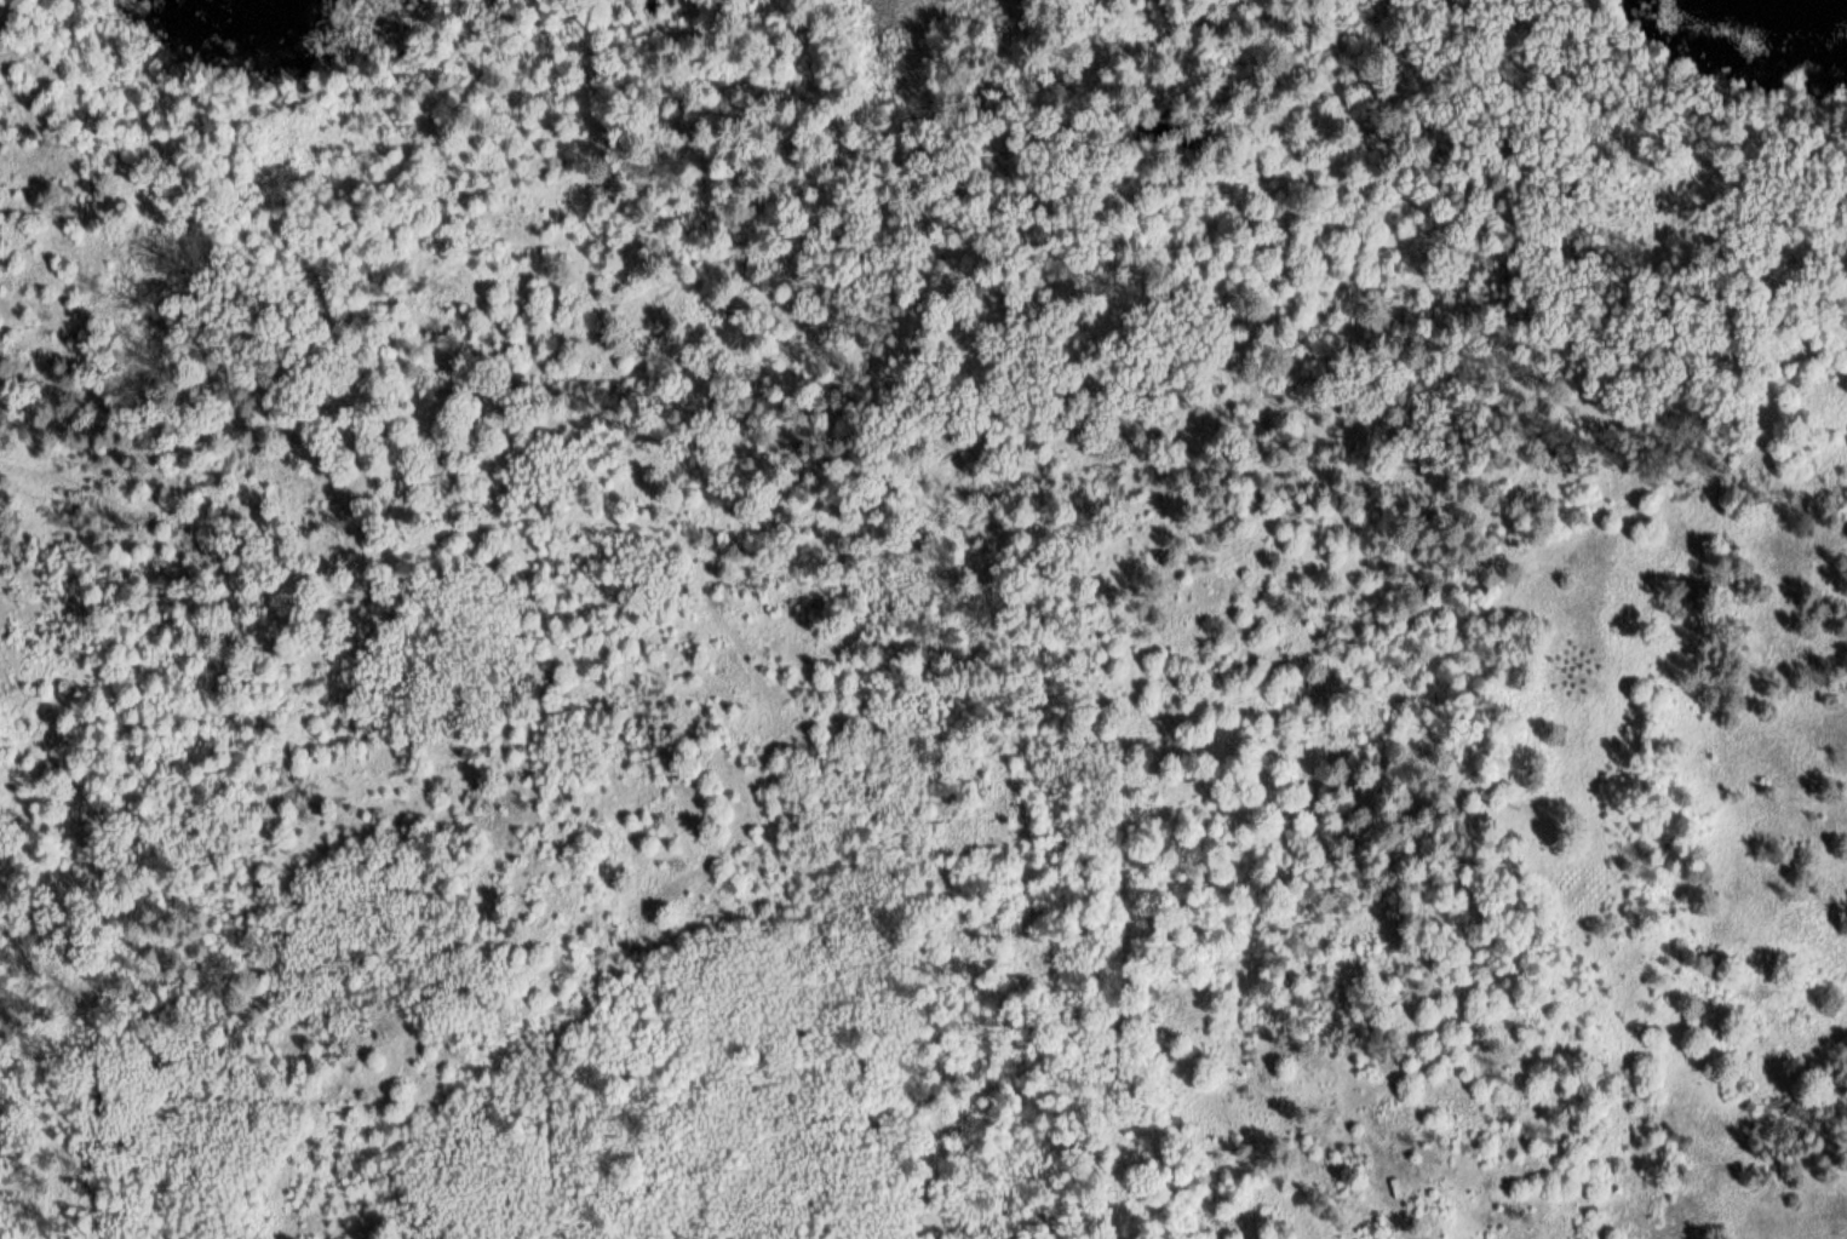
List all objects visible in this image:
road: (1614, 1220)

